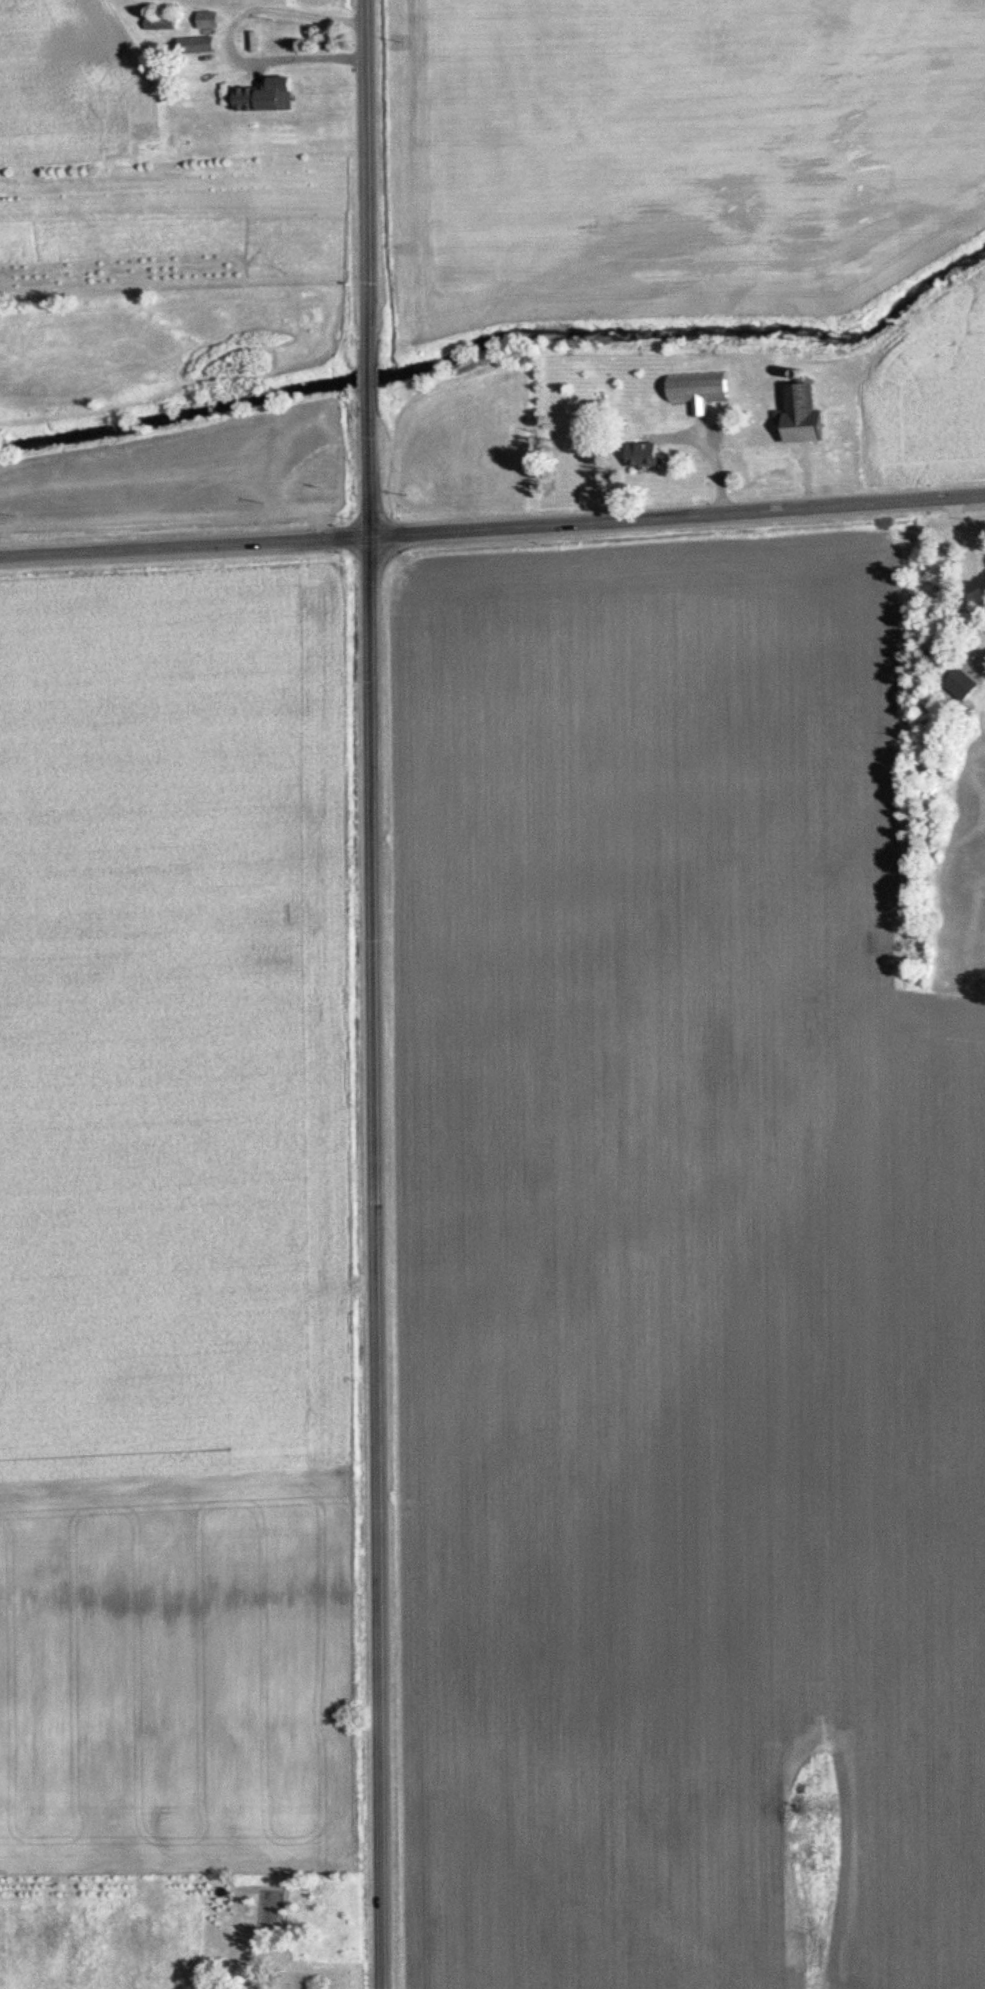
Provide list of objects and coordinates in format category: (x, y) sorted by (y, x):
building: (210, 19)
building: (161, 22)
road: (224, 35)
building: (278, 38)
building: (253, 41)
building: (198, 44)
building: (279, 94)
building: (702, 389)
building: (805, 415)
building: (646, 454)
road: (492, 529)
traffic signals: (371, 538)
road: (970, 567)
building: (962, 684)
road: (374, 994)
building: (282, 1986)

